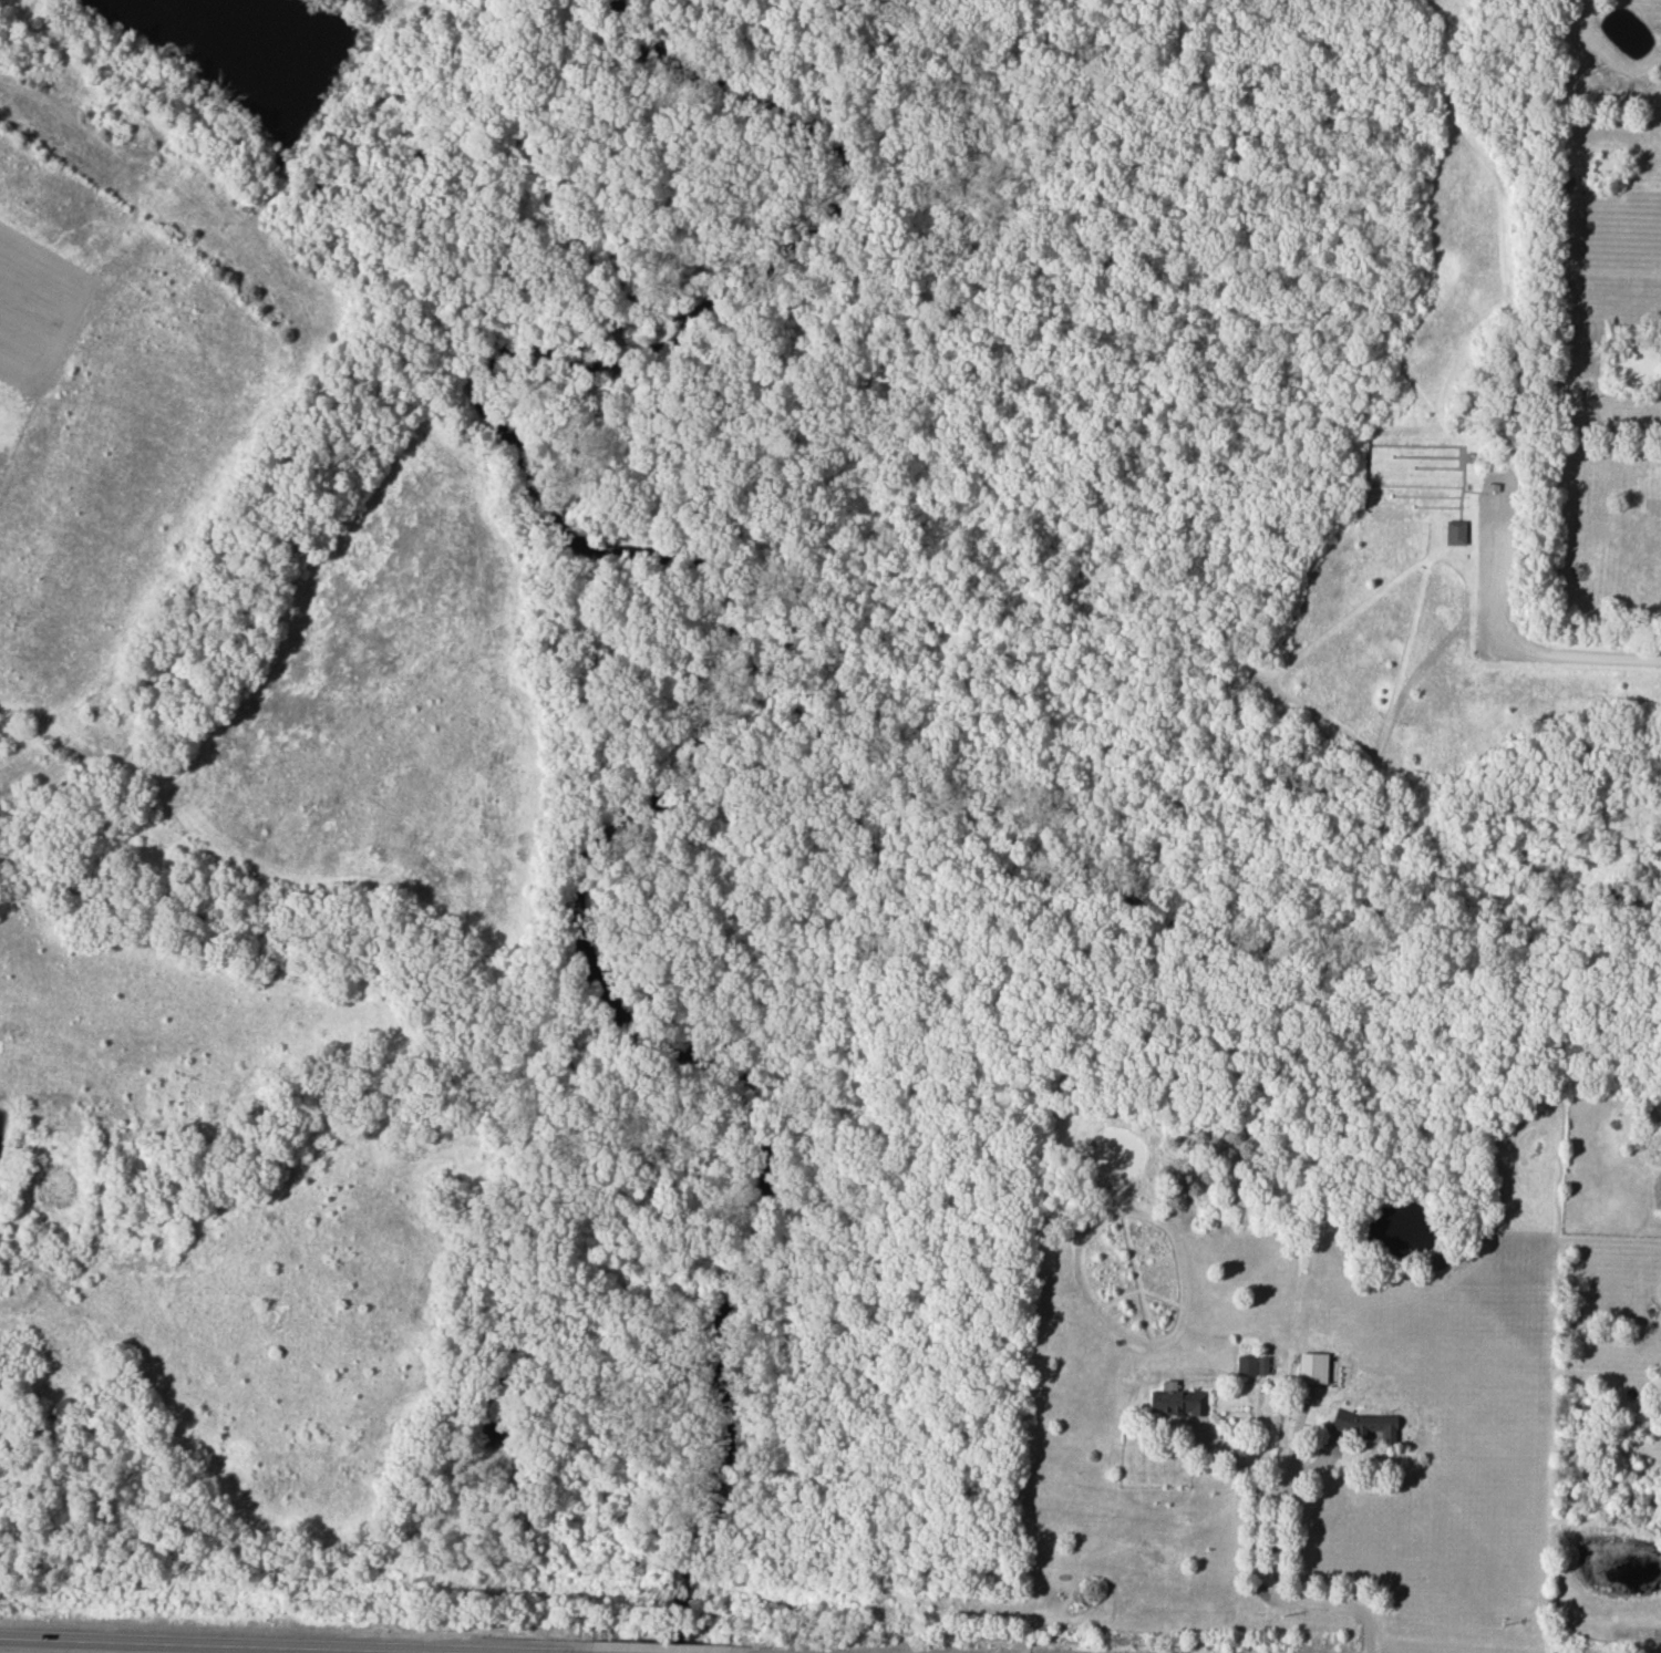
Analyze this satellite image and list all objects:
building: (1455, 533)
road: (1507, 648)
park: (731, 747)
building: (1252, 1365)
building: (1317, 1368)
building: (1177, 1402)
building: (1365, 1425)
road: (1281, 1511)
road: (1254, 1570)
road: (251, 1644)

